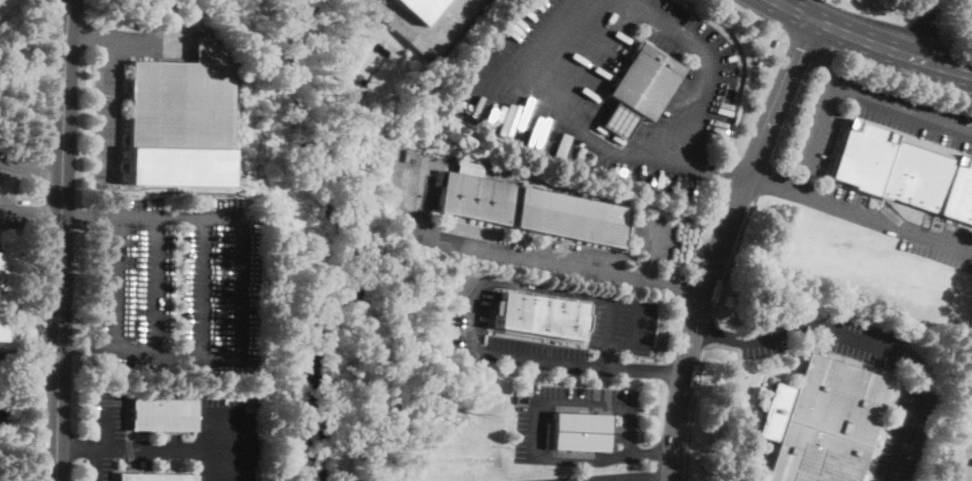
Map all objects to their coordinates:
road: (835, 1)
parking lot: (616, 4)
building: (419, 8)
road: (969, 17)
parking lot: (968, 18)
road: (924, 30)
road: (85, 34)
parking lot: (522, 37)
road: (423, 38)
road: (871, 43)
road: (838, 57)
parking lot: (691, 68)
road: (91, 74)
road: (105, 75)
road: (848, 88)
building: (639, 90)
road: (105, 96)
building: (180, 101)
parking lot: (872, 118)
parking lot: (107, 121)
road: (646, 155)
parking lot: (2, 159)
building: (470, 166)
road: (704, 166)
road: (31, 168)
building: (904, 172)
road: (763, 180)
parking lot: (842, 194)
parking lot: (7, 209)
building: (533, 209)
road: (31, 210)
road: (89, 212)
road: (136, 213)
road: (859, 213)
road: (197, 215)
parking lot: (655, 234)
road: (61, 240)
road: (722, 243)
parking lot: (942, 246)
road: (653, 248)
road: (732, 257)
road: (562, 265)
parking lot: (178, 282)
building: (1, 294)
parking lot: (472, 304)
building: (540, 316)
road: (469, 320)
parking lot: (621, 322)
road: (707, 331)
road: (634, 334)
road: (867, 343)
road: (177, 351)
road: (29, 361)
road: (693, 413)
building: (163, 414)
building: (823, 422)
parking lot: (530, 423)
road: (530, 426)
building: (578, 430)
parking lot: (904, 436)
parking lot: (226, 437)
parking lot: (117, 440)
road: (108, 441)
road: (228, 441)
road: (82, 448)
road: (168, 449)
parking lot: (971, 461)
road: (640, 476)
building: (155, 477)
parking lot: (577, 478)
road: (596, 479)

